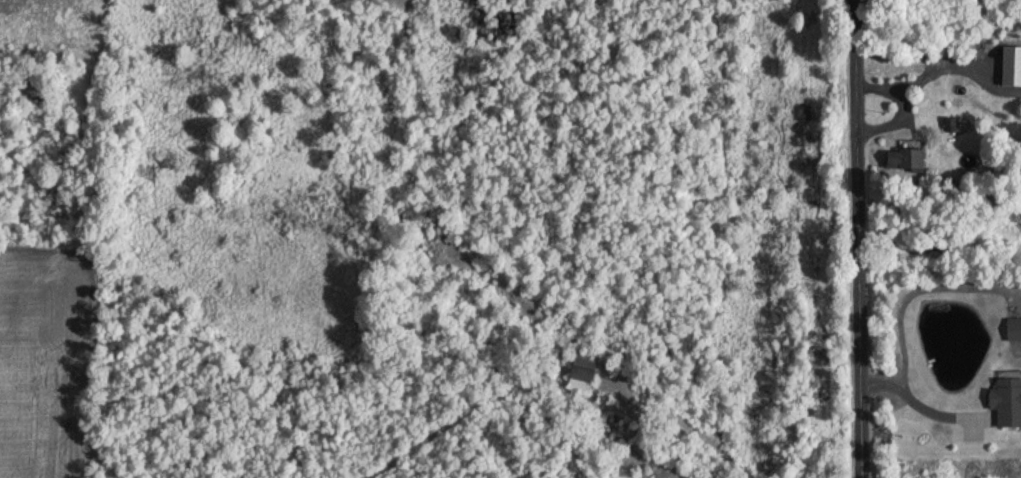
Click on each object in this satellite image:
building: (1011, 61)
building: (920, 160)
road: (859, 239)
building: (1014, 329)
building: (588, 371)
building: (1009, 402)

